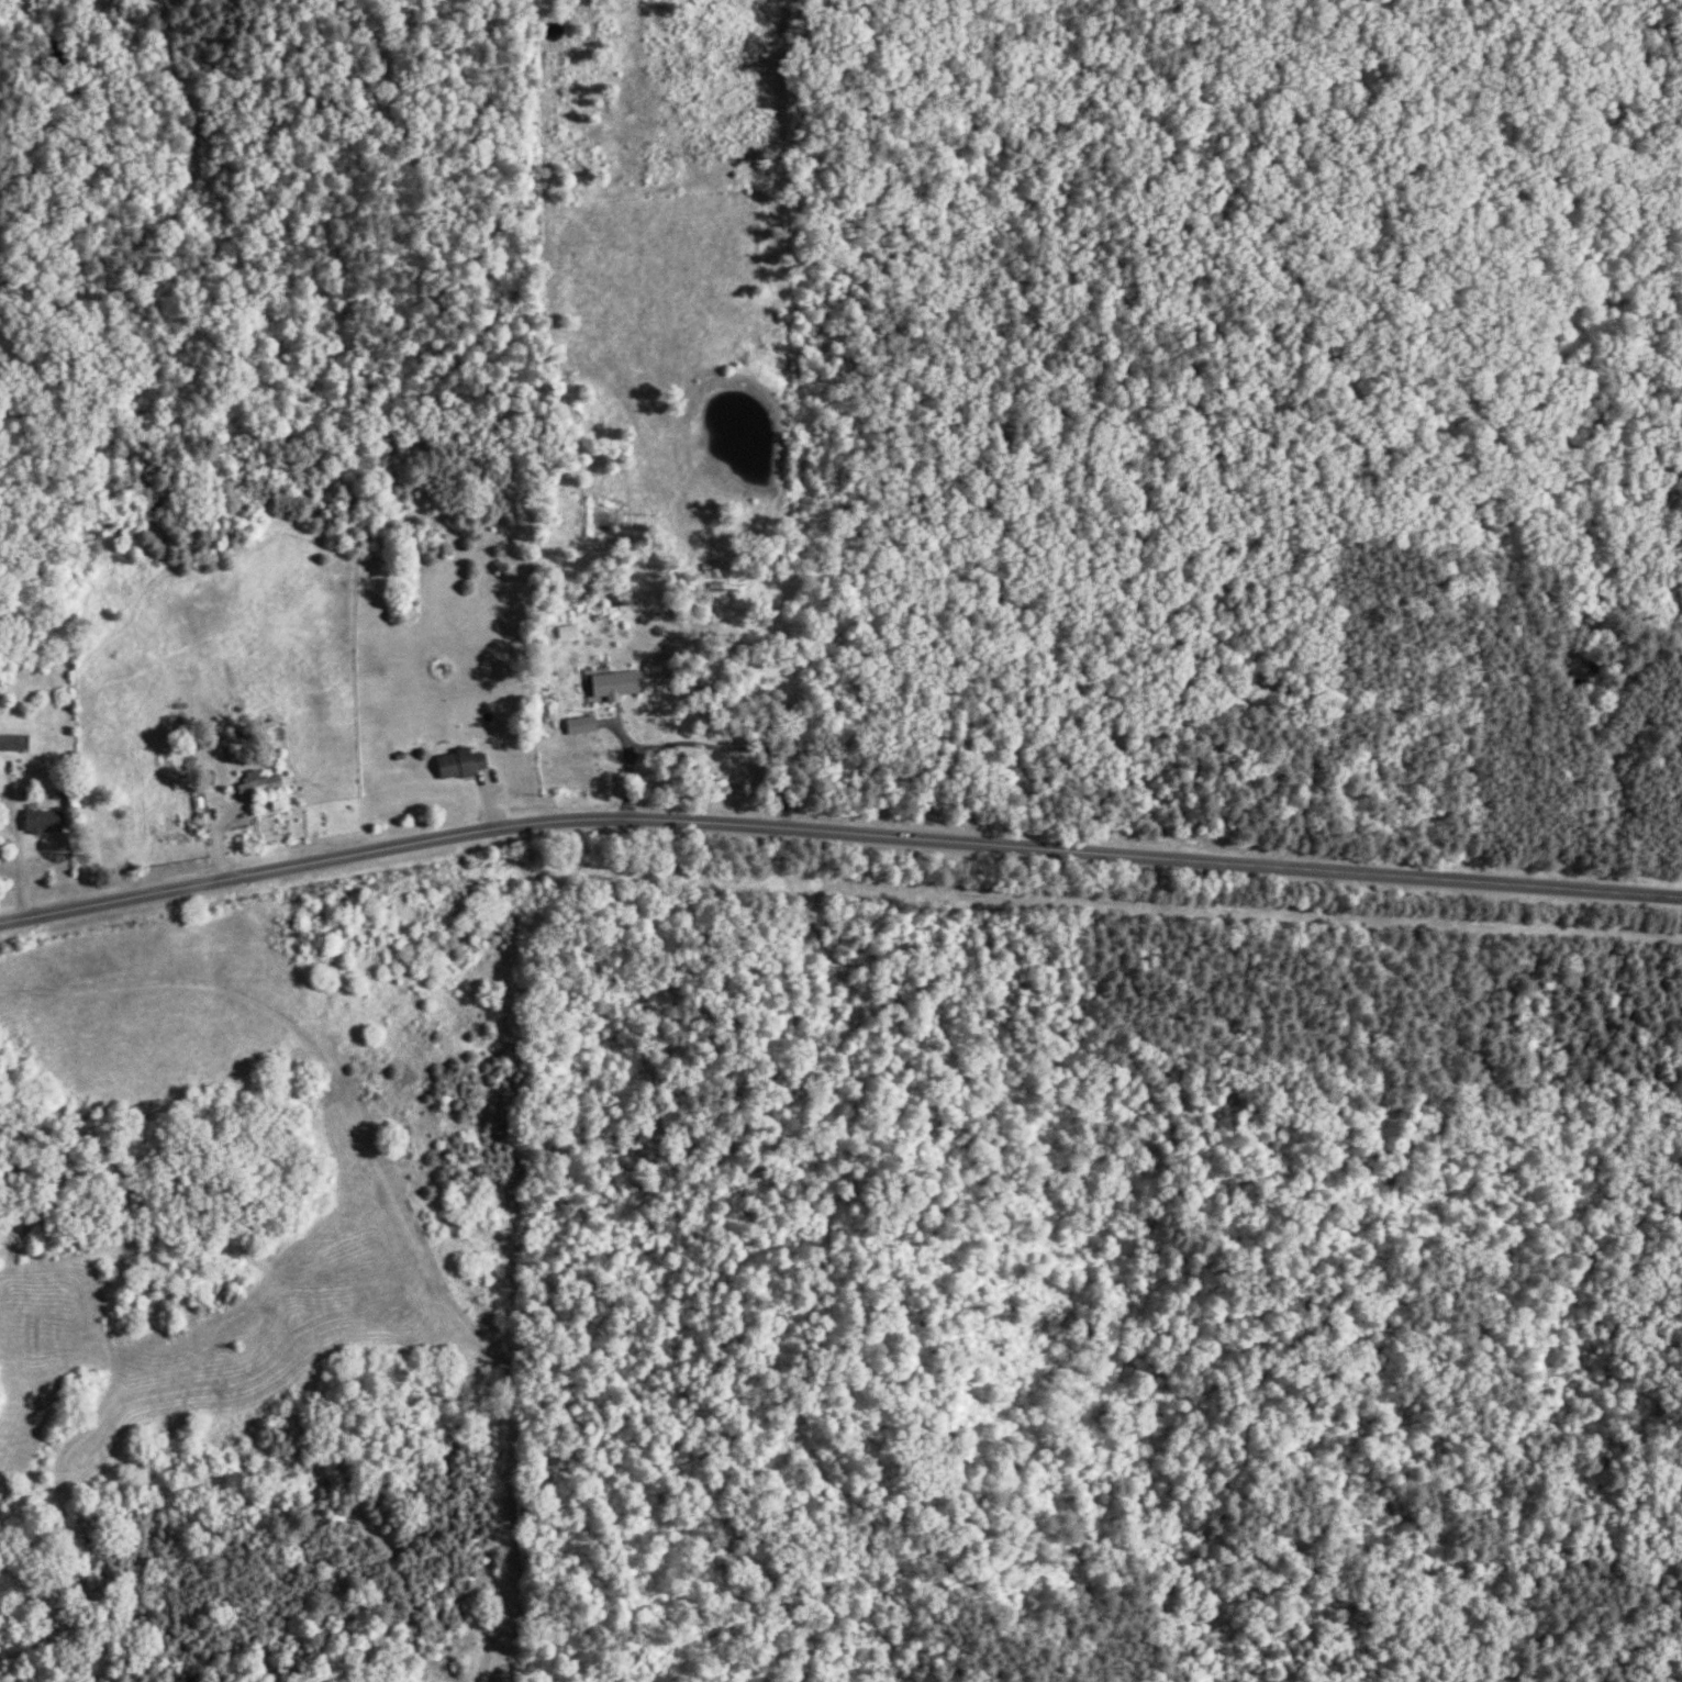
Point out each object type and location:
building: (620, 686)
road: (615, 764)
road: (243, 812)
building: (46, 822)
road: (458, 838)
road: (1152, 856)
road: (11, 859)
road: (156, 890)
road: (10, 916)
road: (388, 1224)

